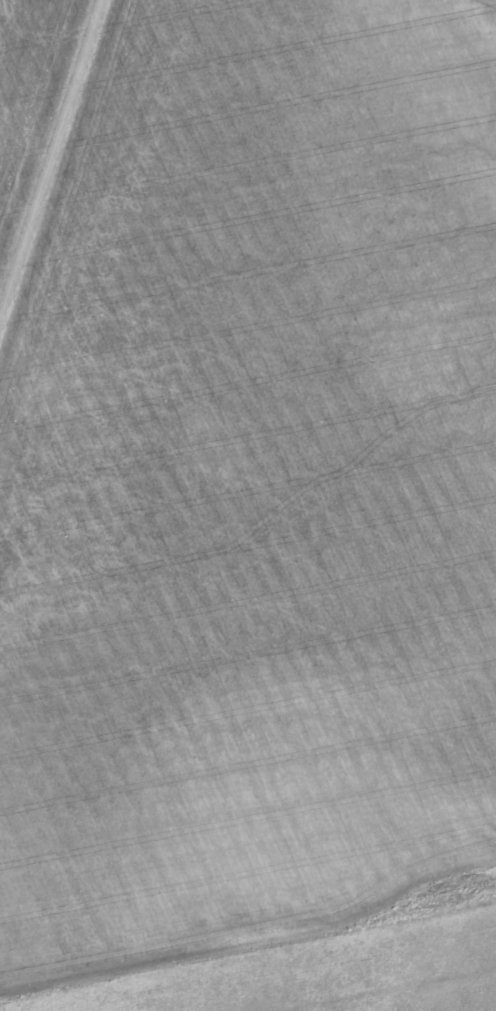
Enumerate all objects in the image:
road: (48, 157)

